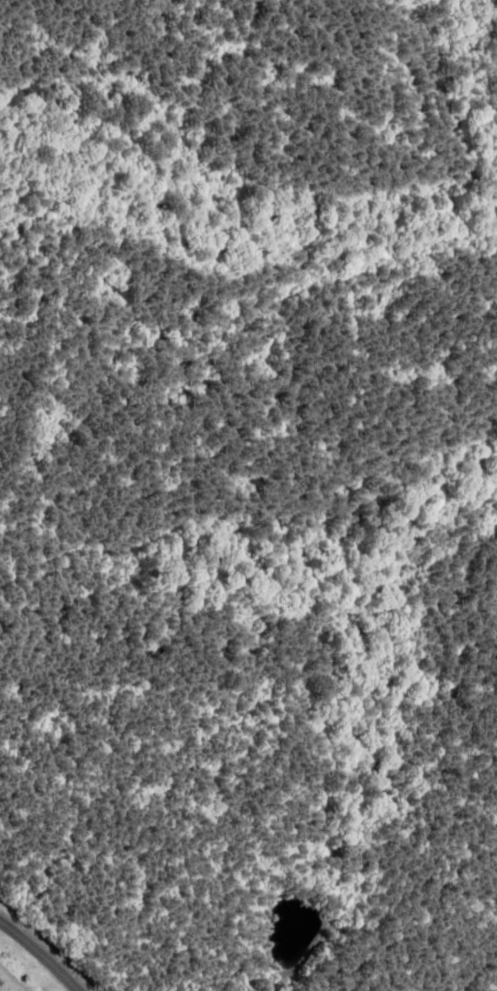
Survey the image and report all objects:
road: (33, 955)

